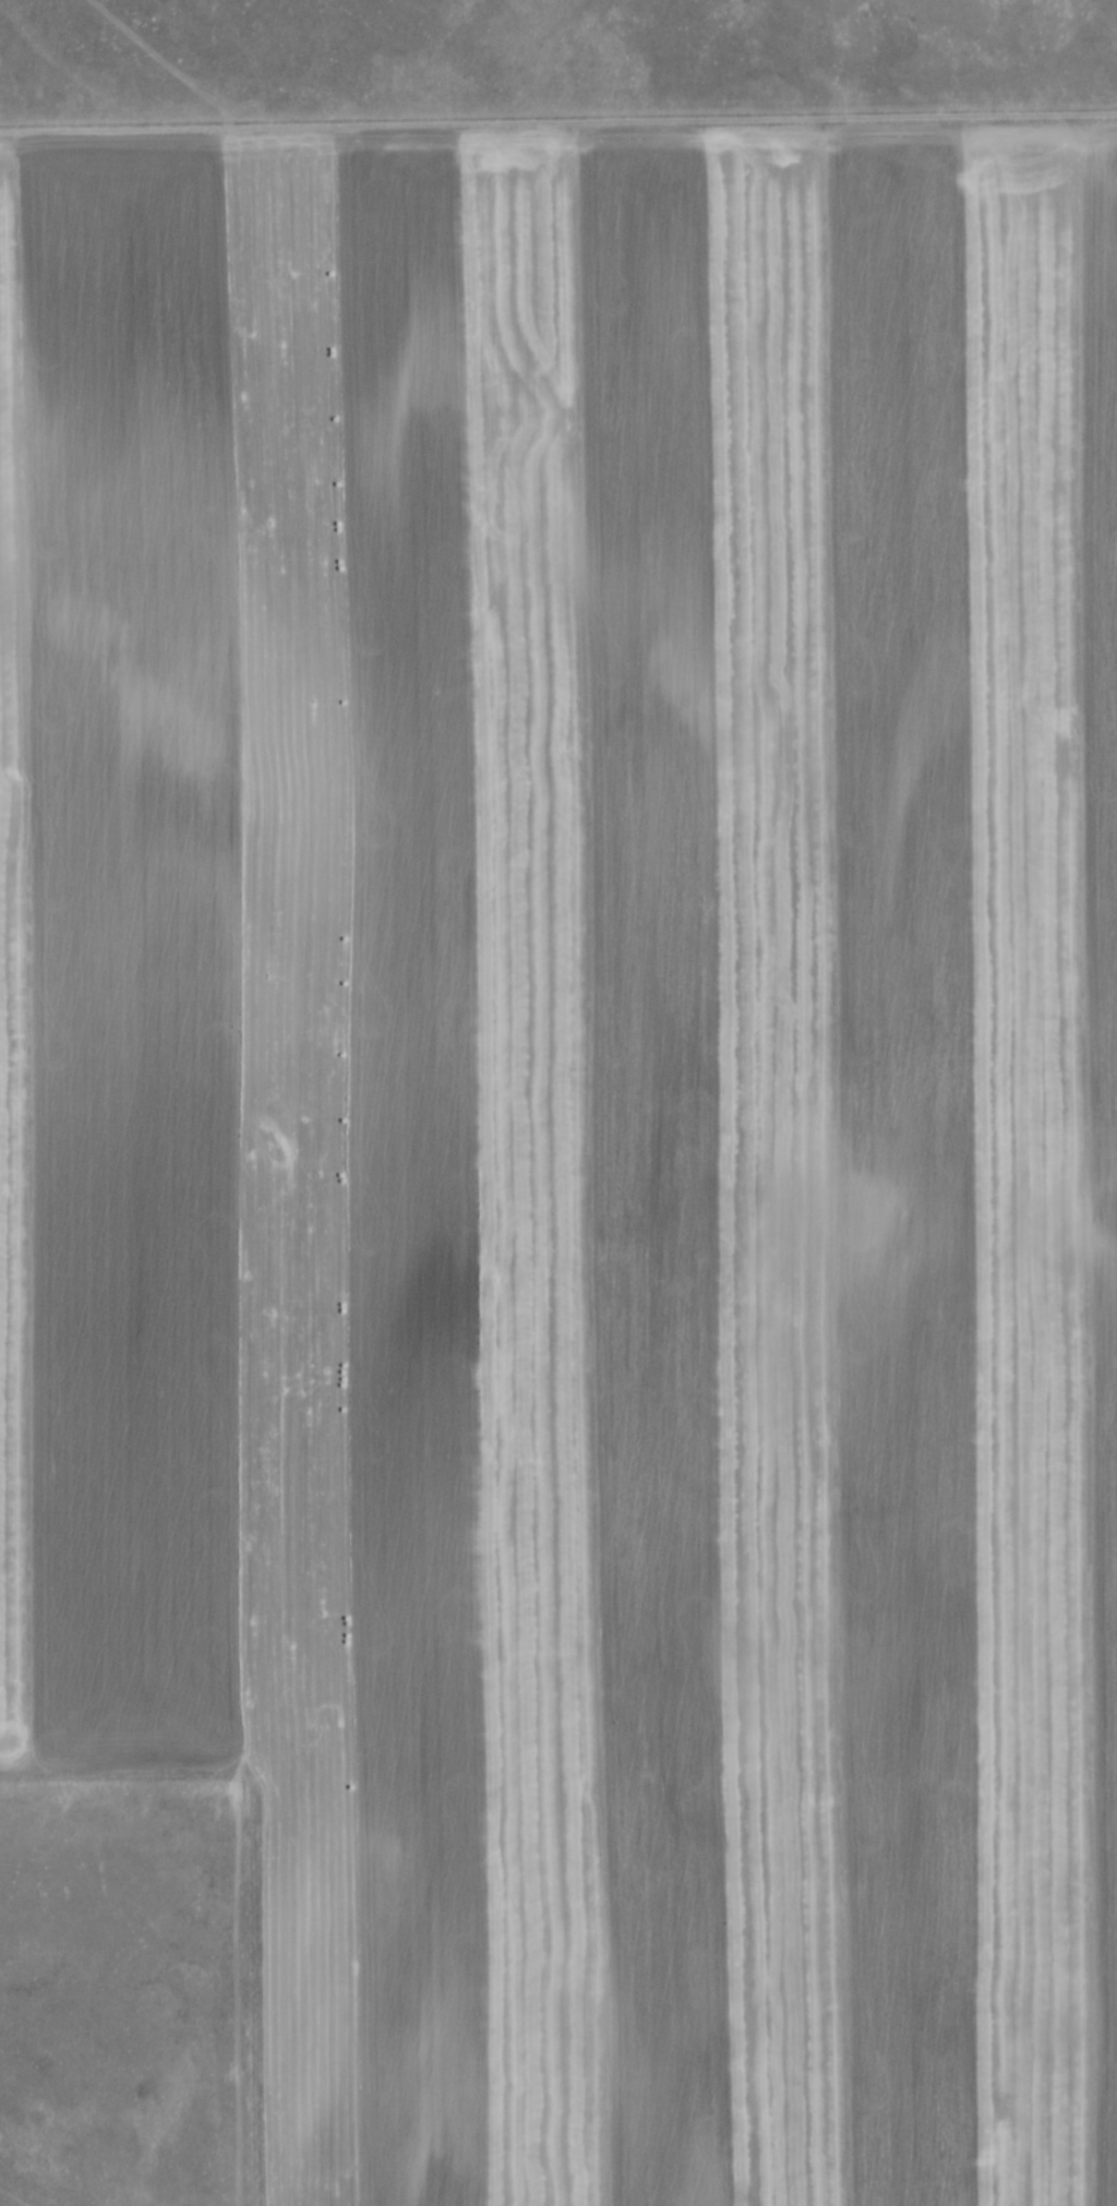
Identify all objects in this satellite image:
road: (118, 1773)

